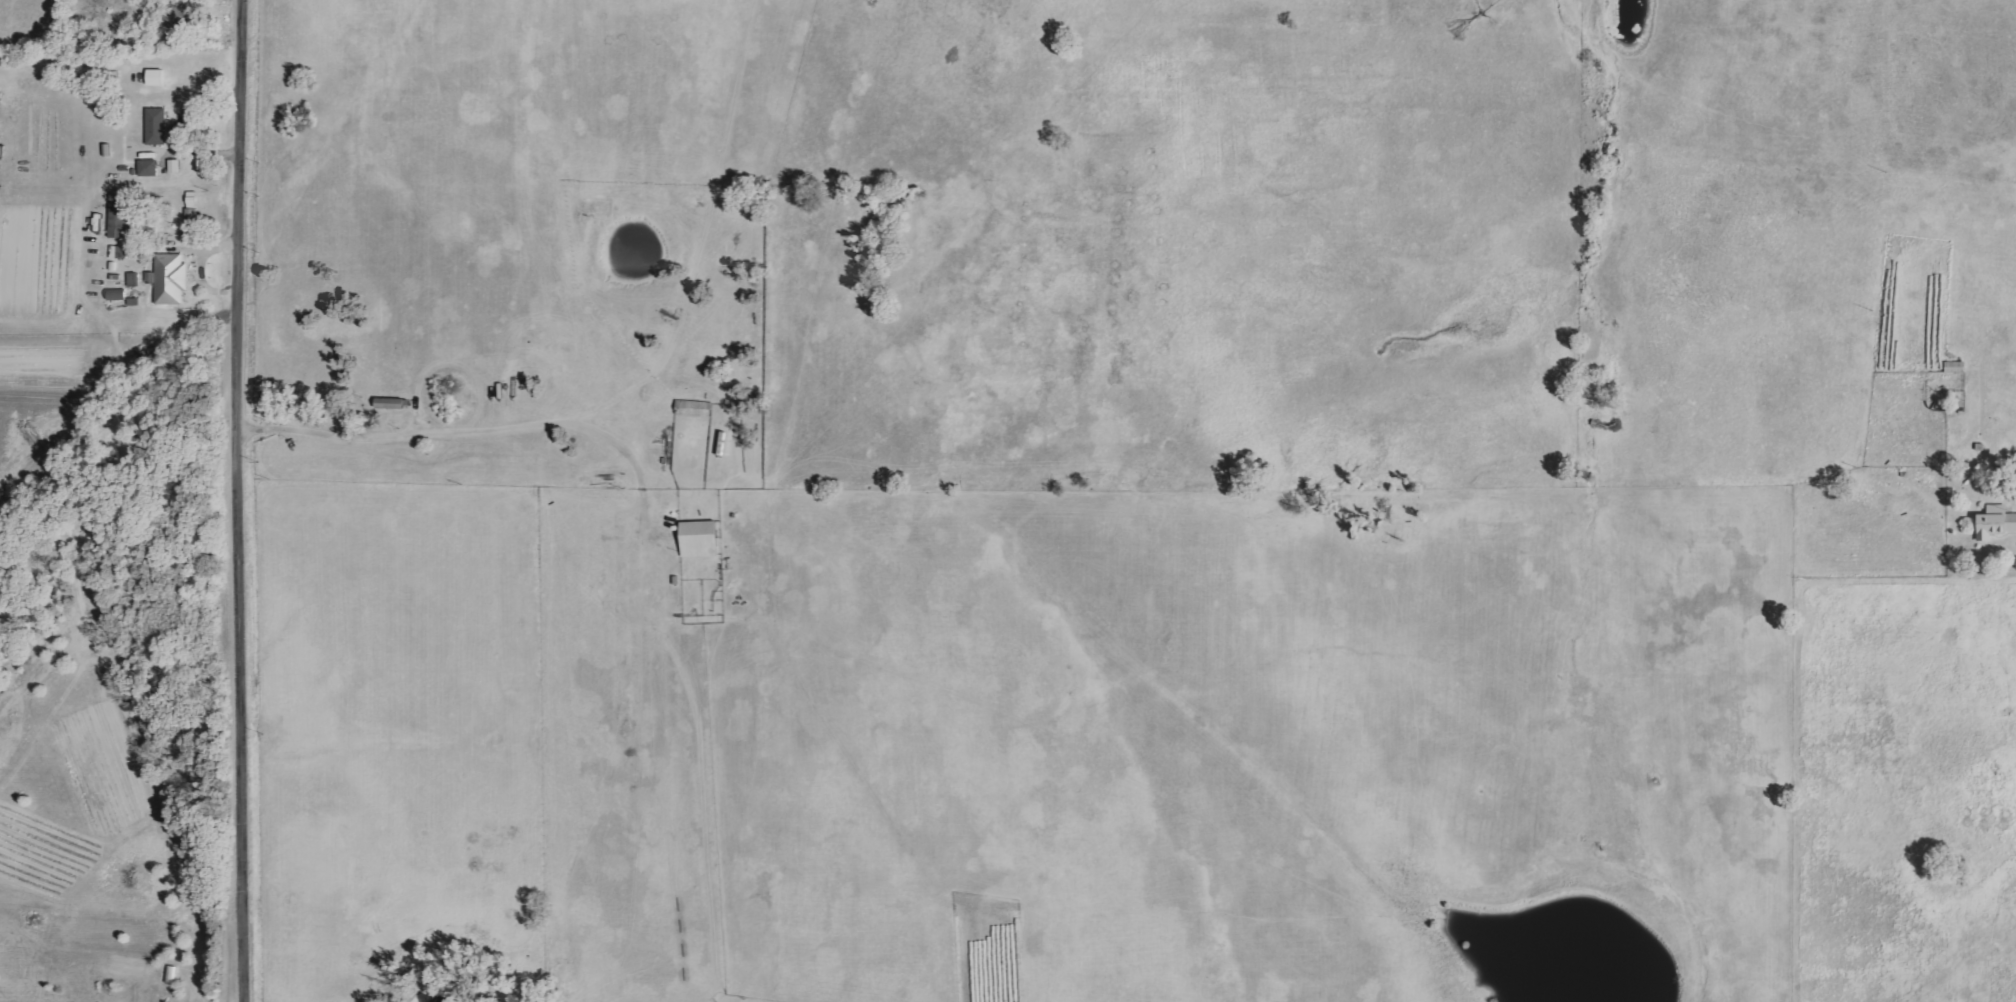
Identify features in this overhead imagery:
building: (158, 77)
building: (158, 126)
building: (150, 167)
building: (119, 252)
building: (171, 278)
building: (135, 279)
road: (425, 445)
road: (244, 500)
building: (1996, 522)
building: (702, 538)
road: (1777, 843)

